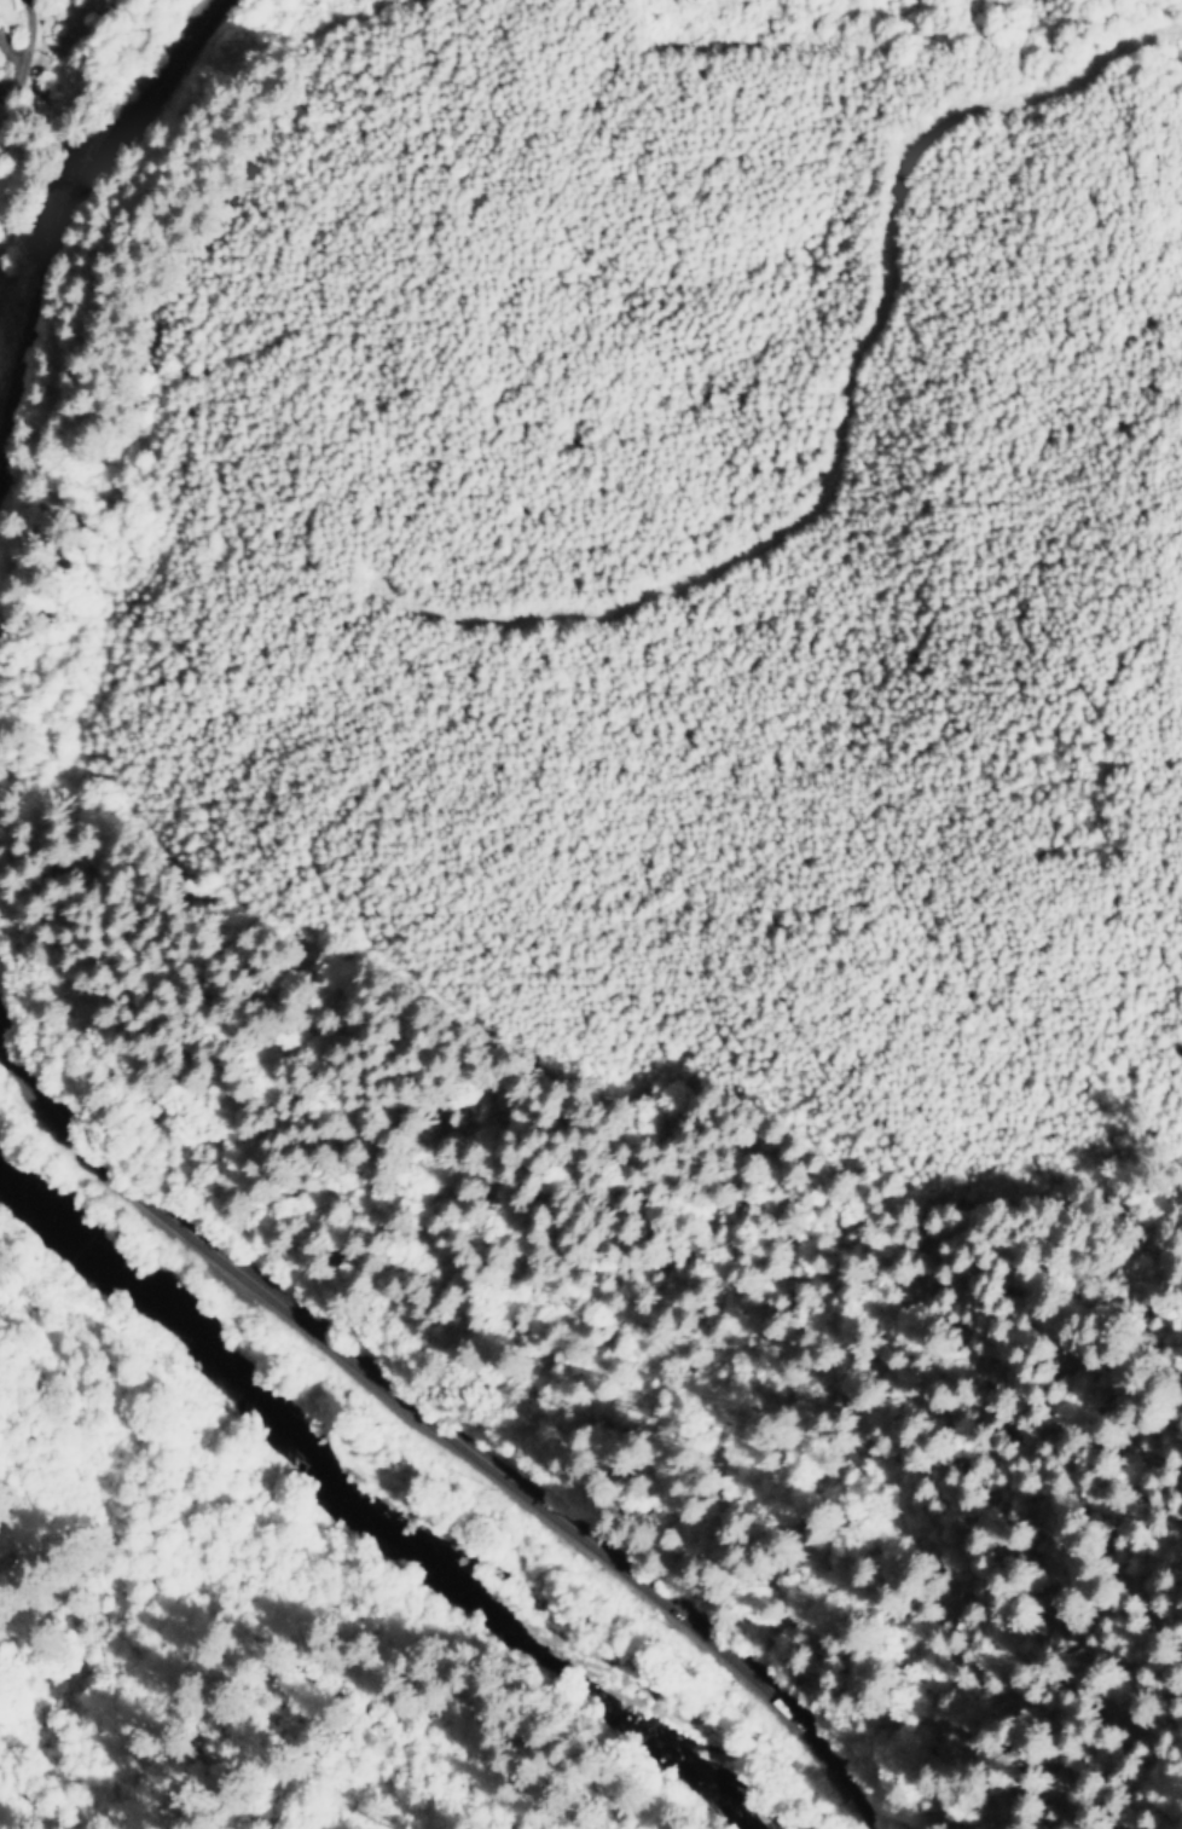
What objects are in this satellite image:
road: (77, 239)
road: (440, 1447)
river: (350, 1521)

